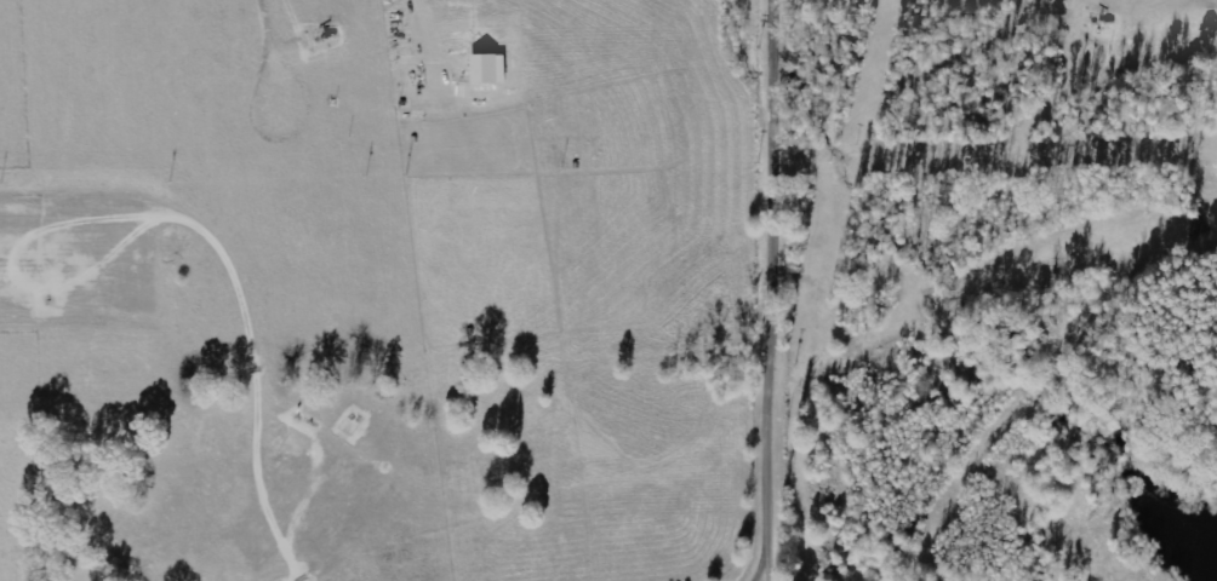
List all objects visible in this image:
road: (783, 30)
road: (782, 224)
road: (778, 485)

